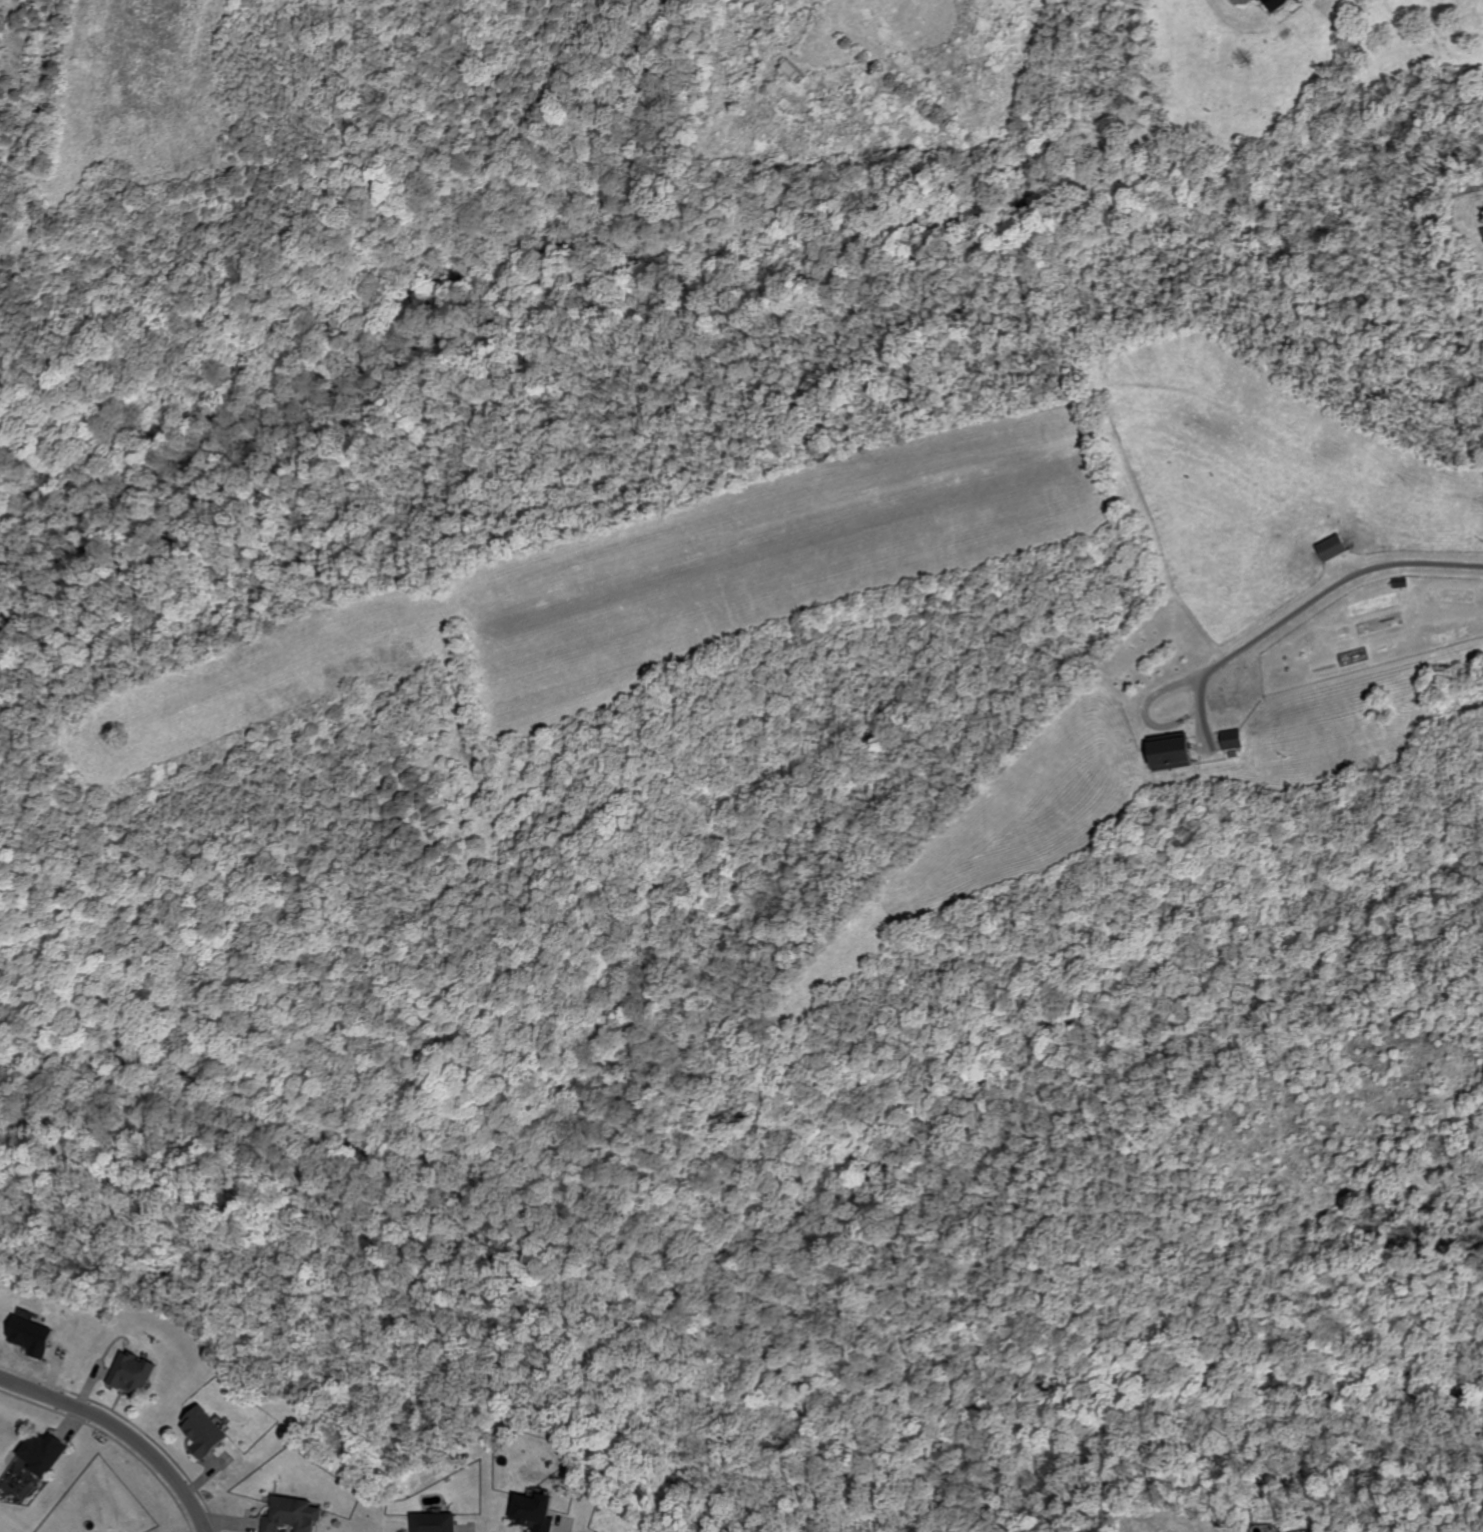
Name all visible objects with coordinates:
building: (1273, 3)
building: (1330, 547)
road: (1332, 585)
road: (1200, 686)
building: (1230, 739)
building: (1166, 752)
building: (30, 1334)
building: (131, 1372)
road: (107, 1422)
building: (202, 1430)
building: (39, 1451)
building: (531, 1511)
building: (290, 1514)
road: (195, 1516)
road: (199, 1516)
building: (432, 1522)
building: (598, 1531)

